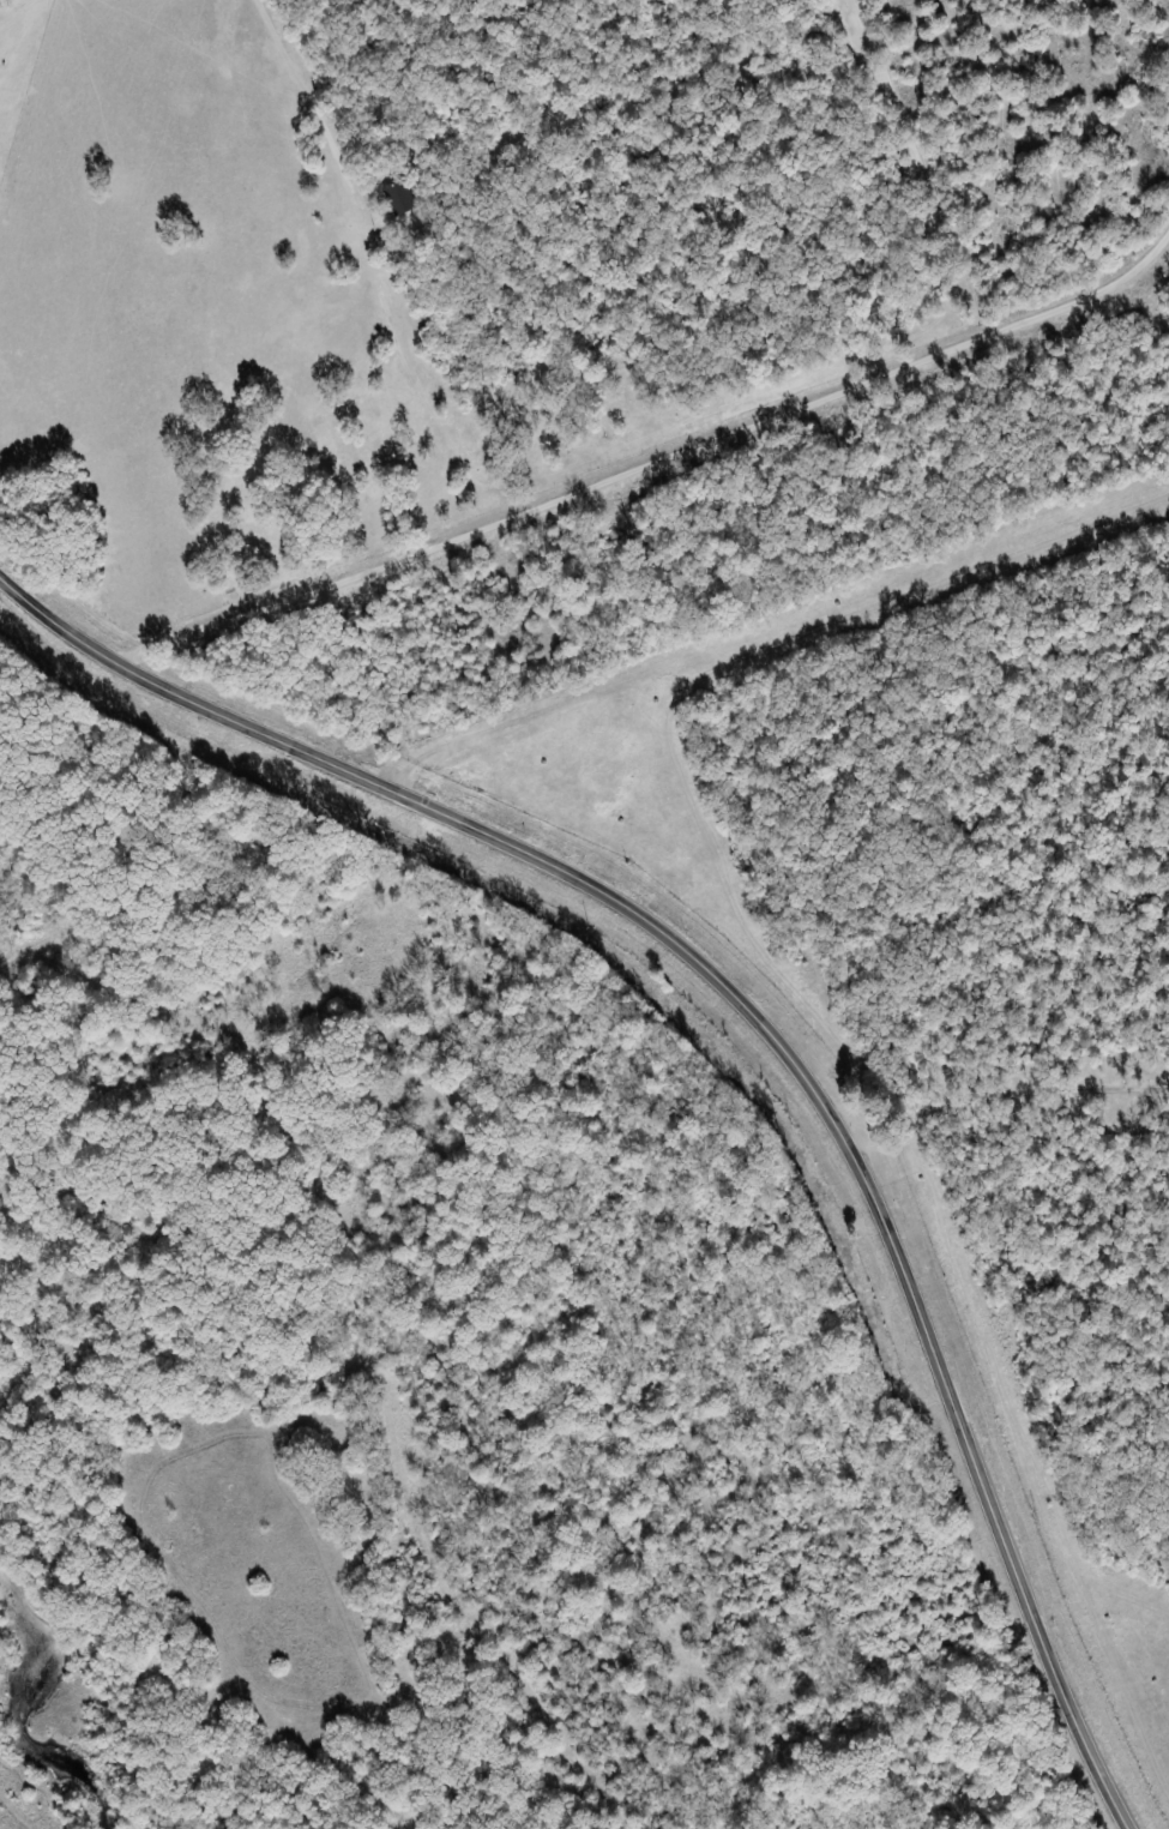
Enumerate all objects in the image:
road: (962, 535)
road: (707, 753)
road: (761, 1023)
road: (1002, 1100)

